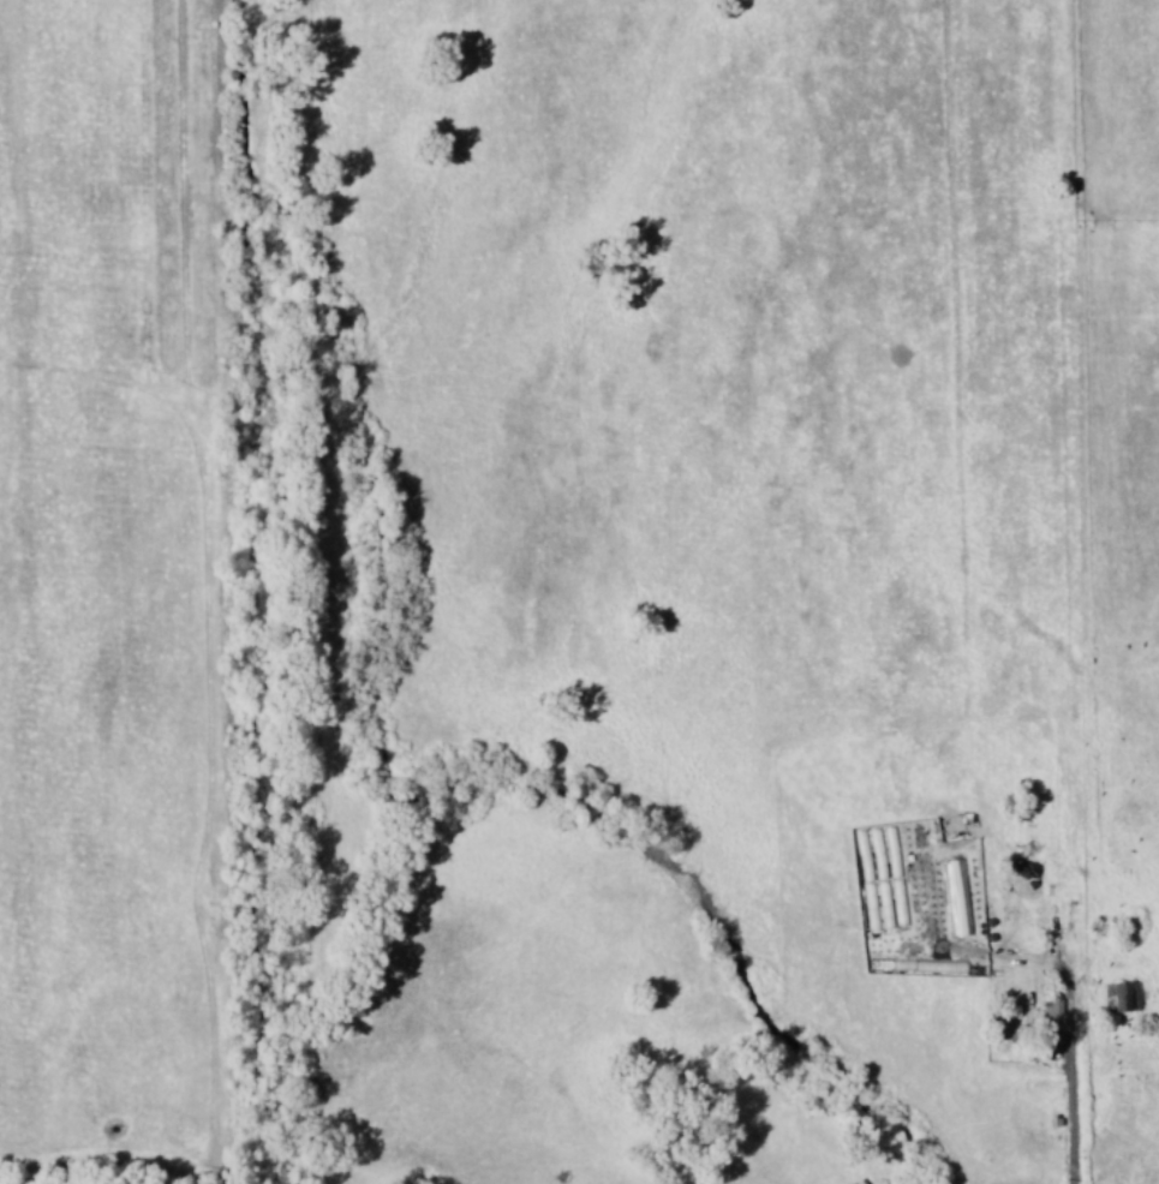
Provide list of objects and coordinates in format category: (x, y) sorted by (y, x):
building: (954, 899)

